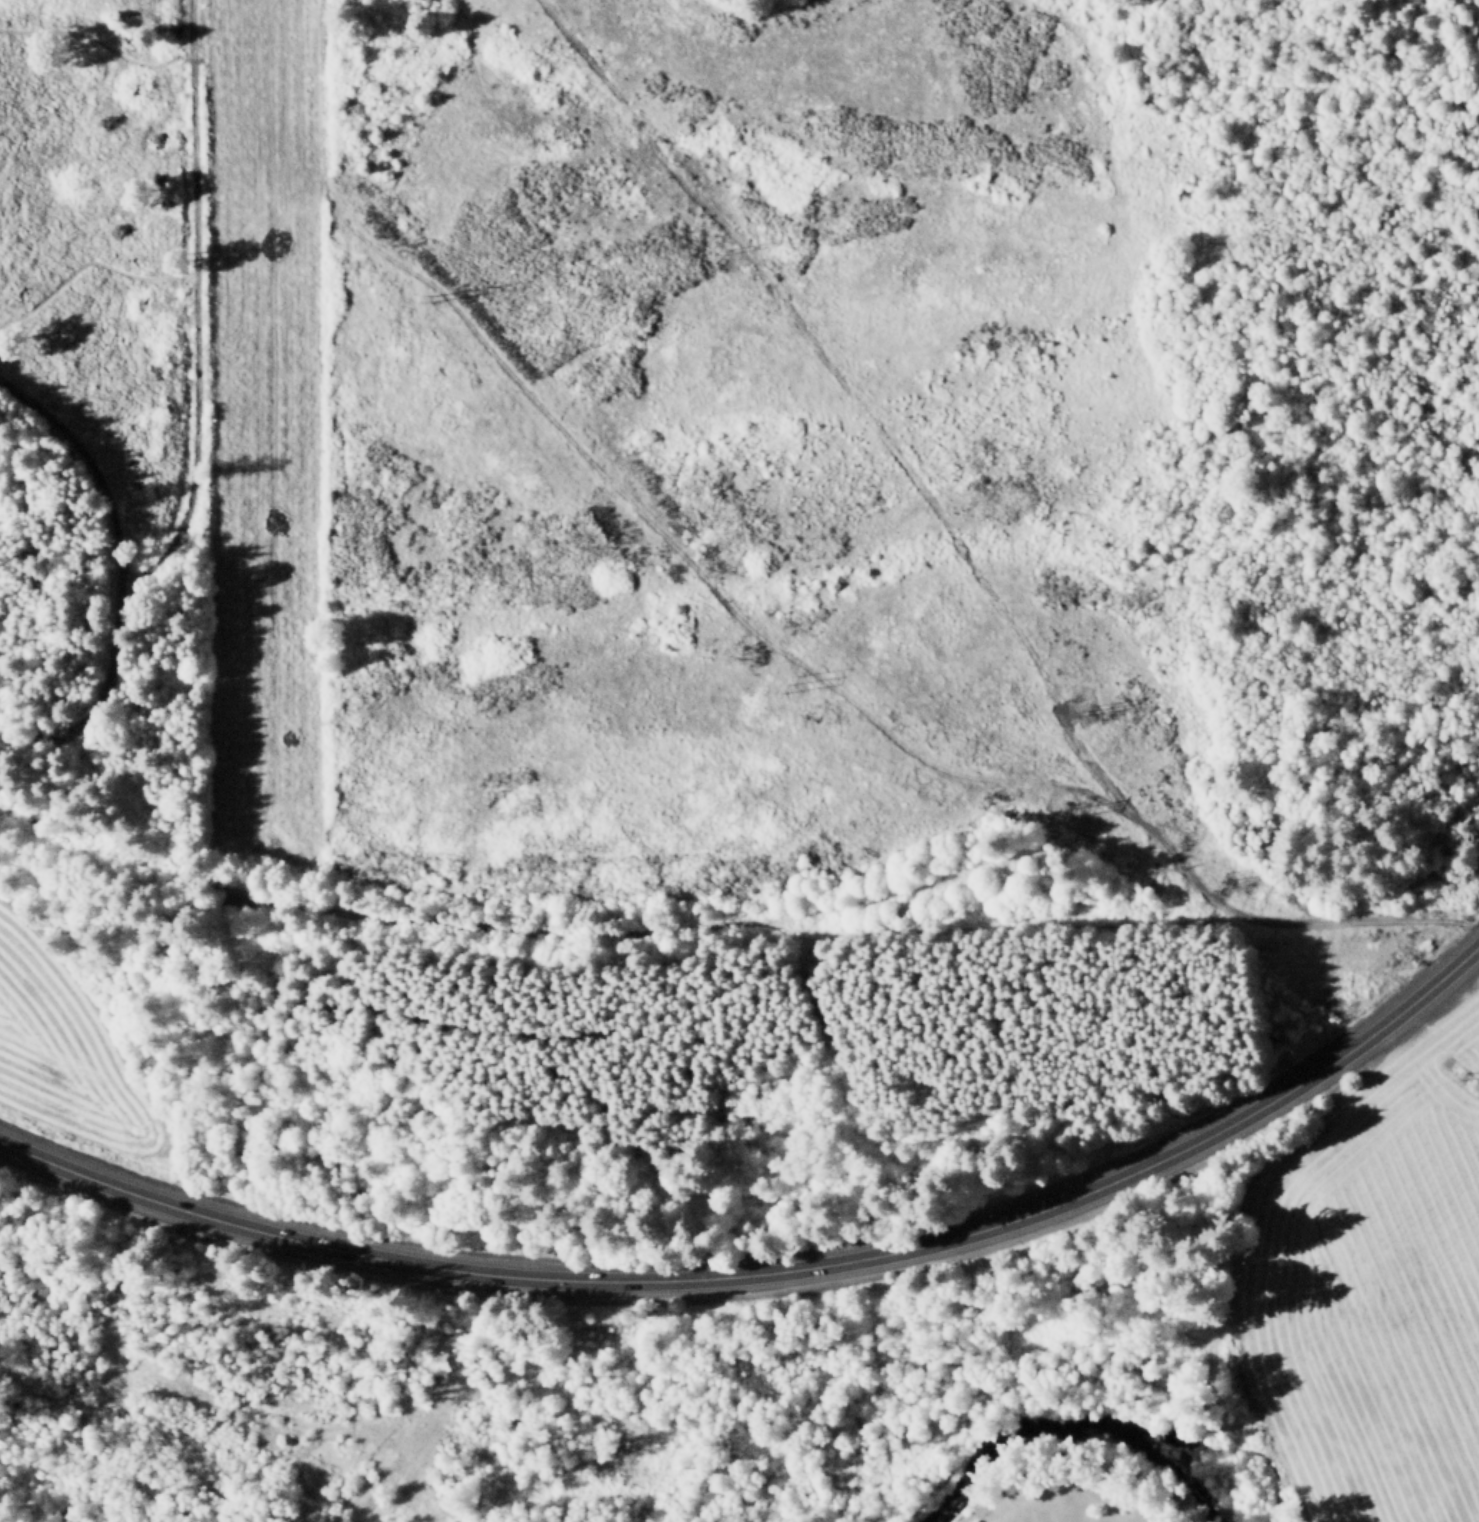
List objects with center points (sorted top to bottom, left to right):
road: (194, 316)
road: (580, 456)
road: (95, 476)
road: (90, 707)
road: (1235, 907)
crop: (72, 1049)
road: (771, 1272)
crop: (1371, 1290)
road: (271, 1319)
road: (247, 1409)
river: (1070, 1462)

